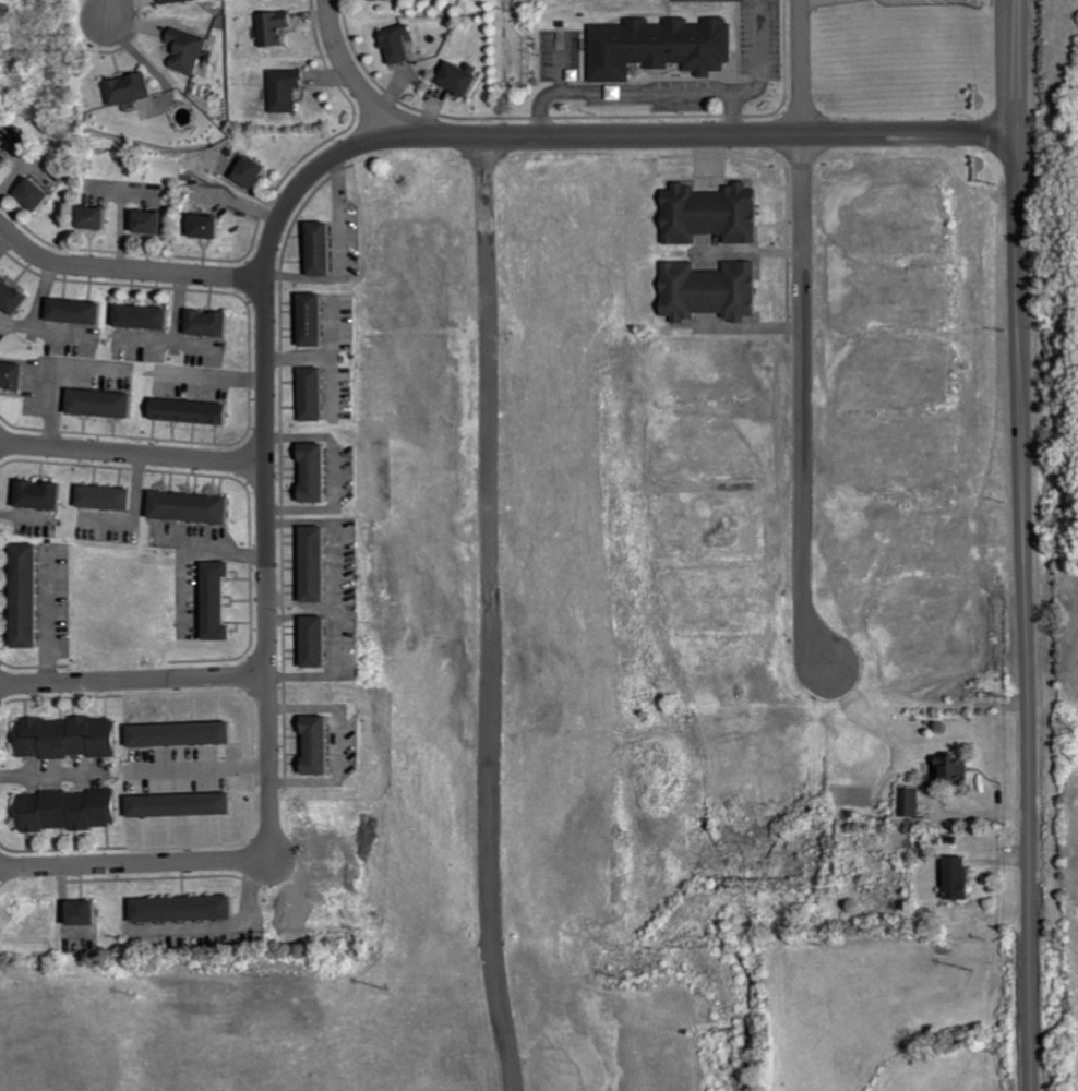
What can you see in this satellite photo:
building: (373, 0)
building: (179, 1)
road: (112, 10)
building: (272, 28)
building: (394, 45)
building: (655, 47)
building: (194, 49)
road: (801, 68)
building: (456, 80)
building: (134, 88)
building: (289, 92)
road: (637, 137)
building: (5, 158)
building: (257, 171)
road: (10, 172)
building: (39, 193)
building: (704, 215)
building: (99, 217)
building: (157, 220)
building: (214, 226)
road: (119, 229)
building: (326, 248)
road: (339, 253)
road: (133, 271)
building: (704, 291)
building: (13, 293)
road: (34, 308)
building: (80, 310)
building: (148, 315)
building: (319, 319)
building: (214, 322)
road: (57, 329)
road: (175, 333)
road: (193, 340)
road: (323, 356)
road: (52, 372)
building: (14, 374)
road: (214, 375)
road: (330, 383)
building: (318, 393)
building: (107, 403)
road: (803, 403)
building: (196, 410)
road: (133, 454)
building: (322, 471)
road: (332, 472)
building: (45, 494)
building: (110, 496)
building: (196, 506)
road: (131, 512)
road: (22, 515)
road: (171, 538)
road: (185, 540)
road: (335, 540)
road: (1027, 545)
road: (267, 561)
building: (321, 563)
building: (33, 595)
building: (224, 600)
road: (313, 607)
road: (488, 615)
road: (47, 621)
building: (322, 640)
road: (334, 672)
road: (133, 681)
building: (188, 733)
building: (71, 736)
road: (335, 742)
building: (324, 745)
building: (948, 768)
road: (48, 772)
building: (909, 801)
building: (188, 804)
building: (71, 810)
building: (953, 878)
building: (190, 909)
building: (92, 912)
road: (229, 926)

